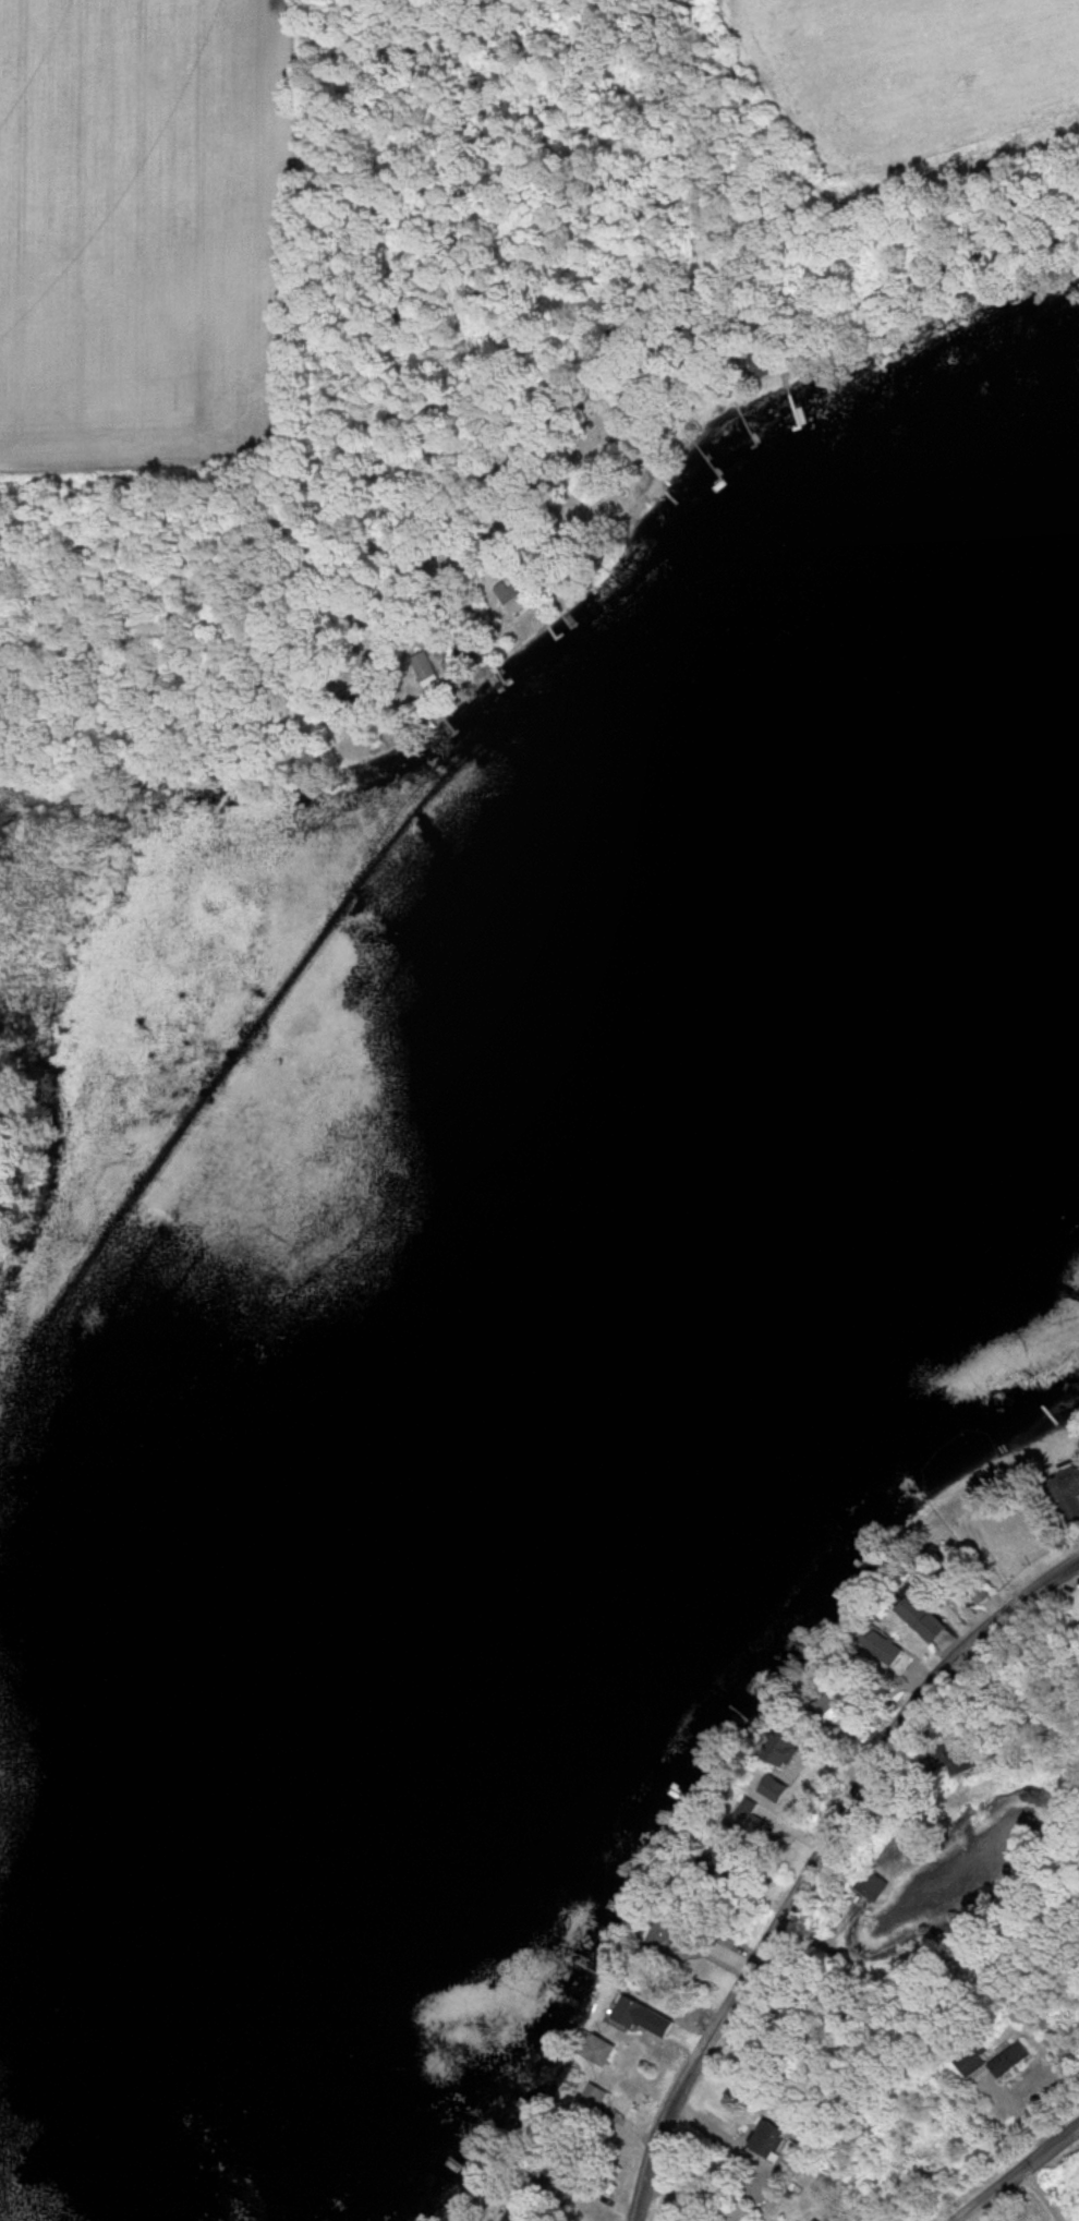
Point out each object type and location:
road: (684, 267)
building: (518, 607)
building: (1068, 1494)
building: (958, 1583)
building: (978, 1595)
building: (923, 1619)
building: (885, 1651)
building: (838, 1705)
building: (750, 1823)
building: (726, 1859)
road: (819, 1866)
building: (874, 1885)
building: (677, 1933)
building: (632, 2013)
building: (603, 2051)
building: (1010, 2060)
building: (971, 2062)
building: (593, 2099)
building: (769, 2142)
road: (1019, 2177)
building: (570, 2182)
building: (523, 2212)
building: (814, 2220)

